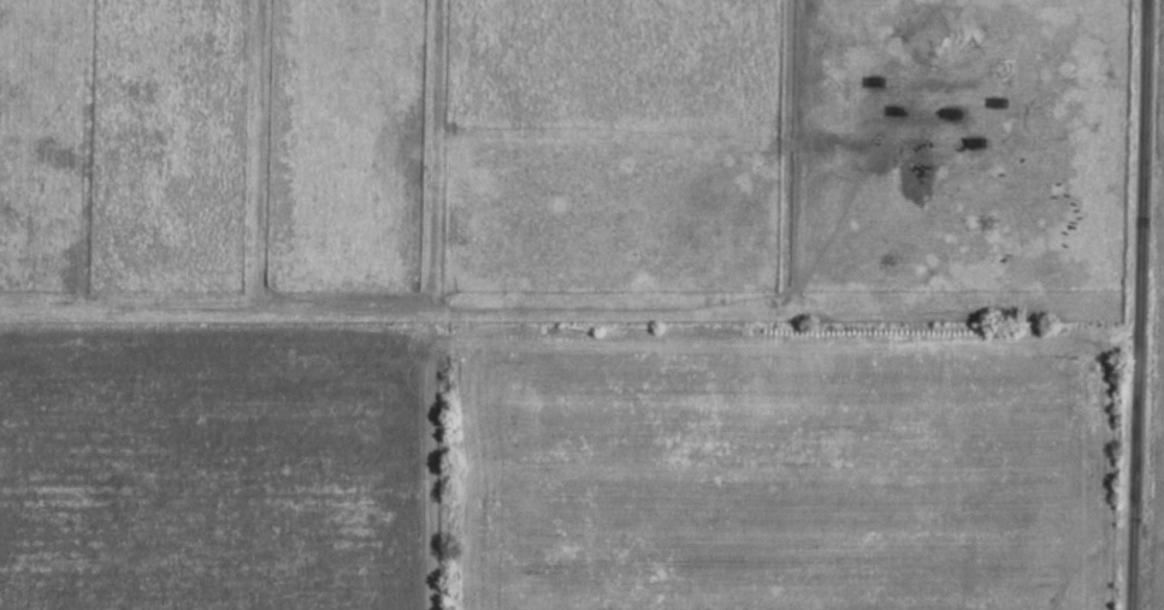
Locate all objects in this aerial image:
road: (1139, 304)

